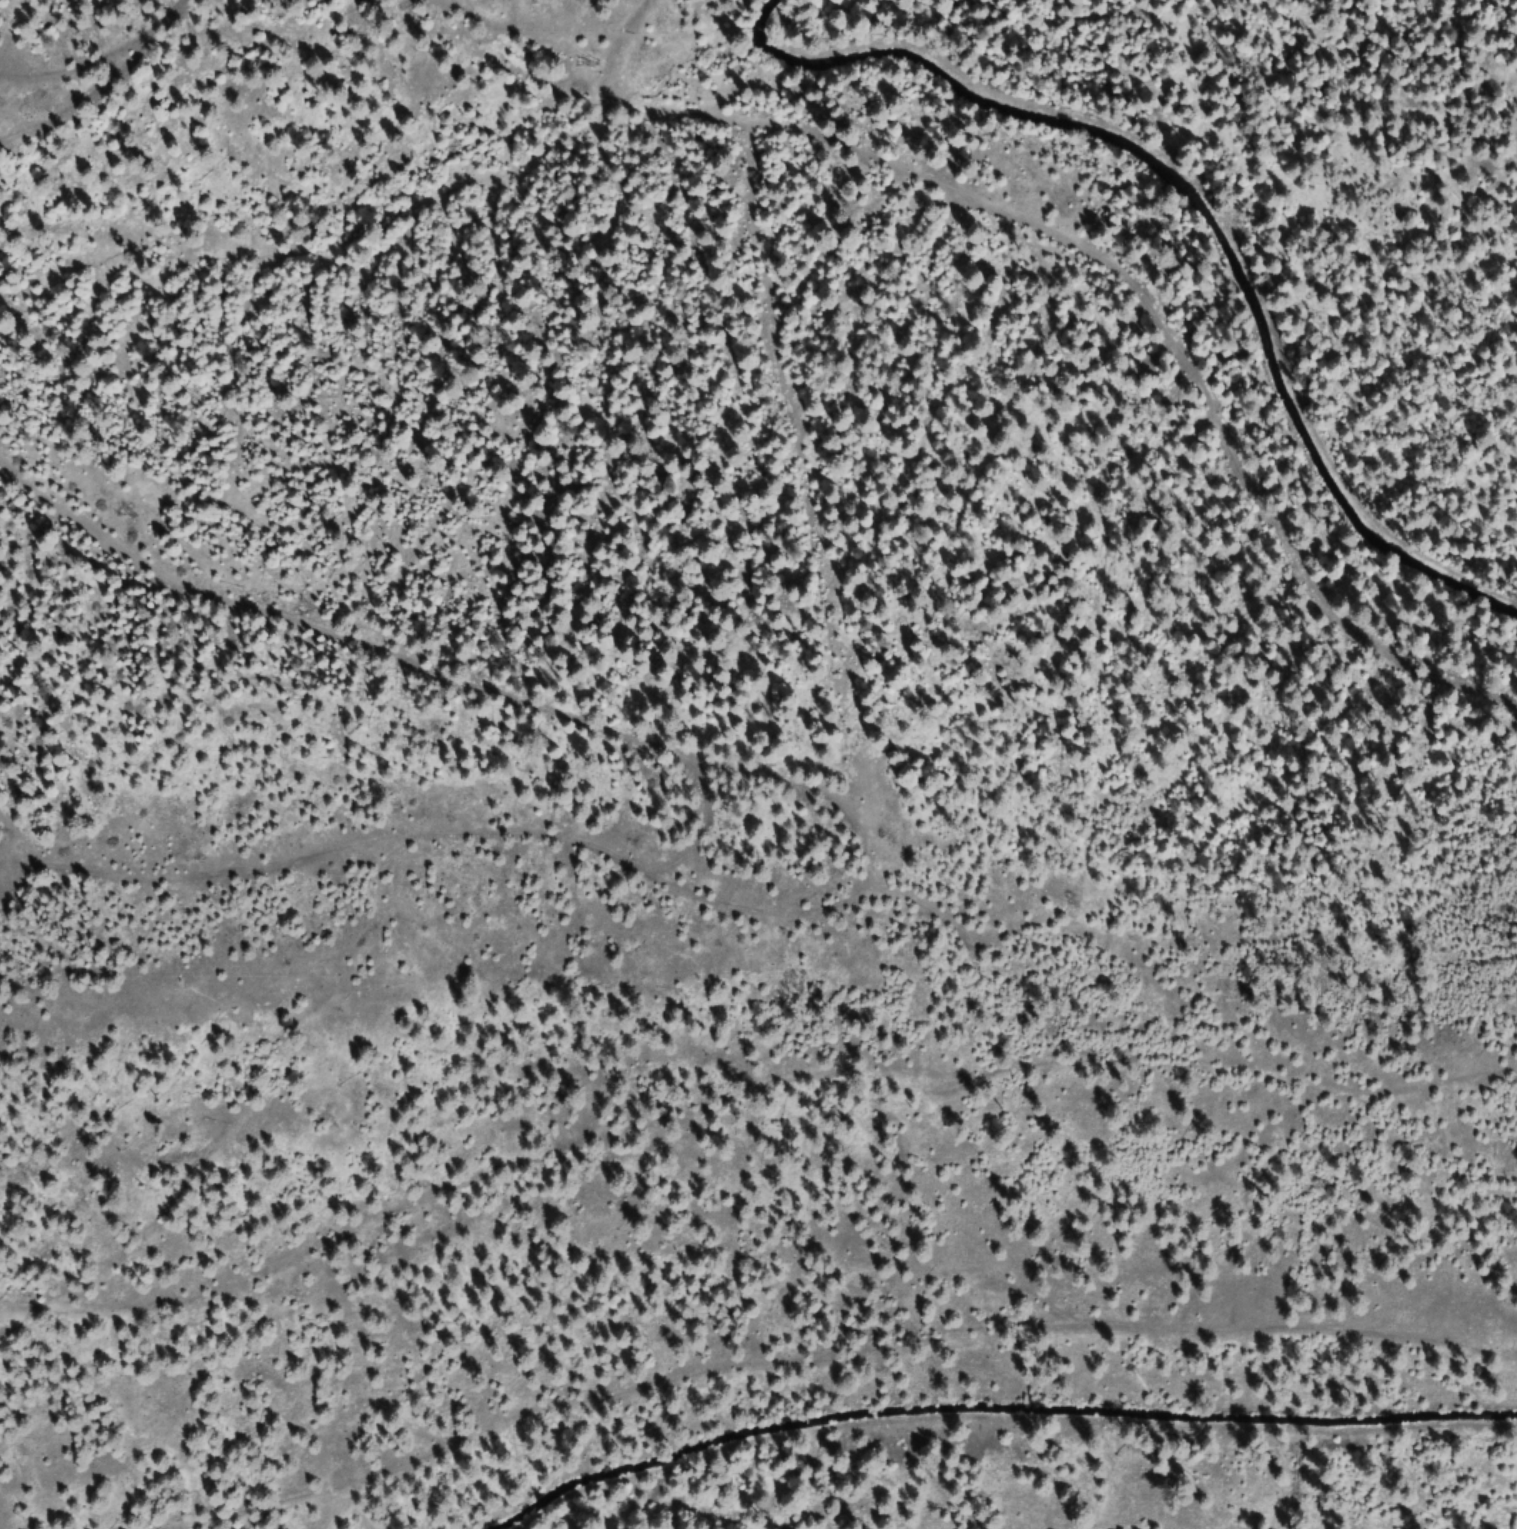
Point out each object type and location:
road: (91, 100)
road: (1116, 307)
road: (742, 805)
road: (835, 1369)

